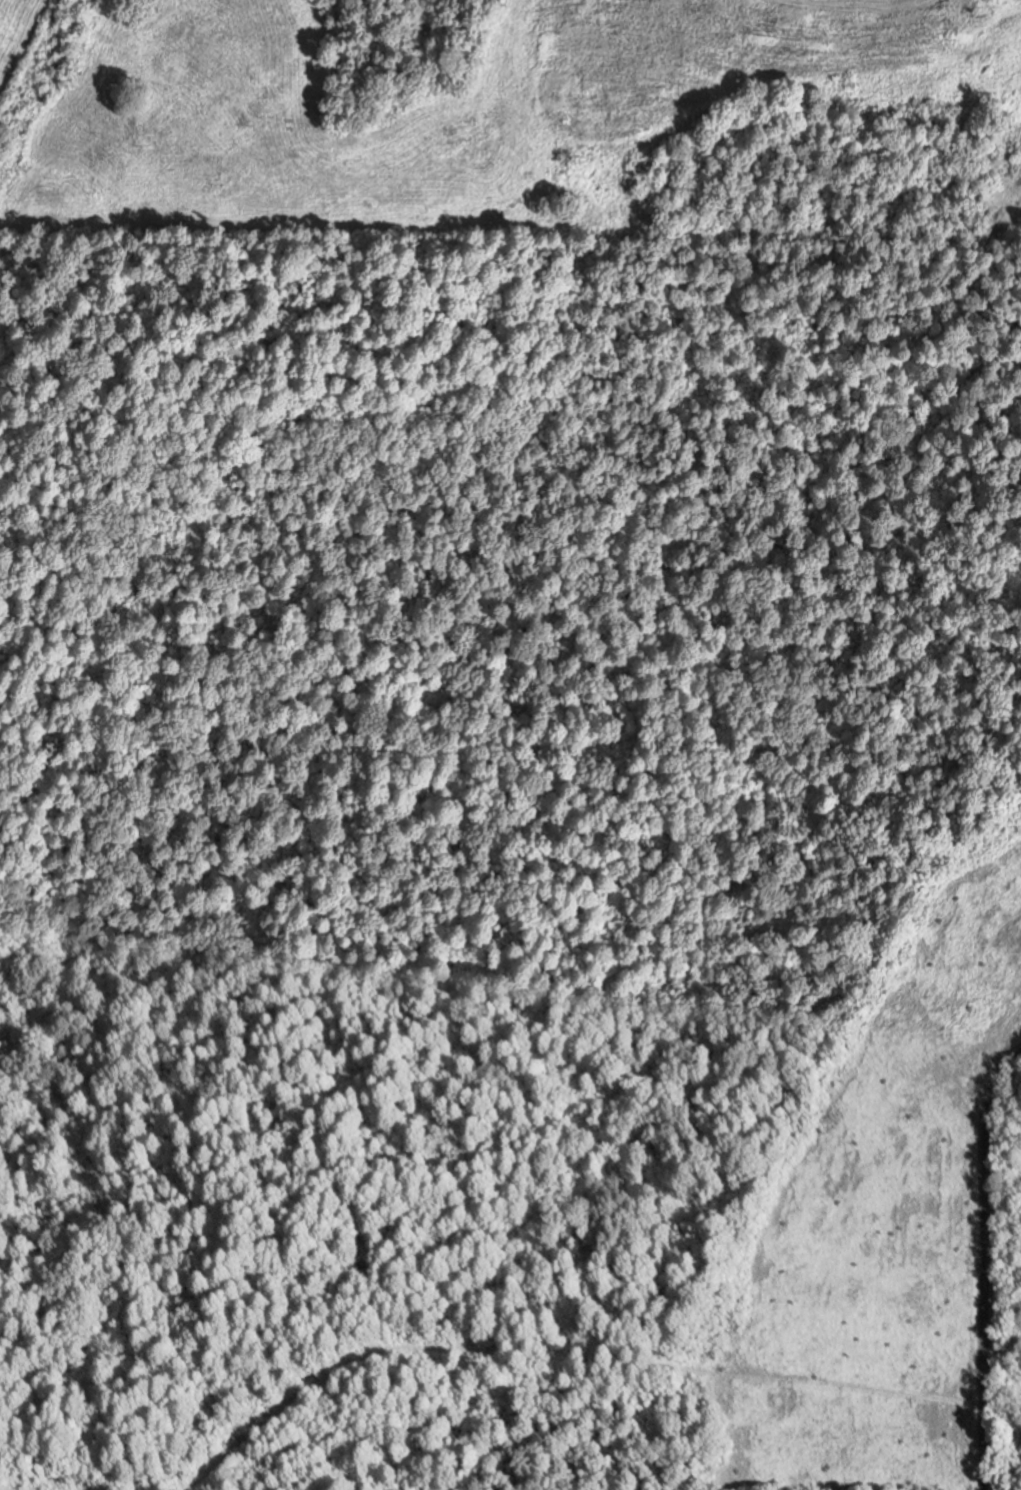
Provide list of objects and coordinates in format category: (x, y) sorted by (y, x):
road: (983, 1263)

